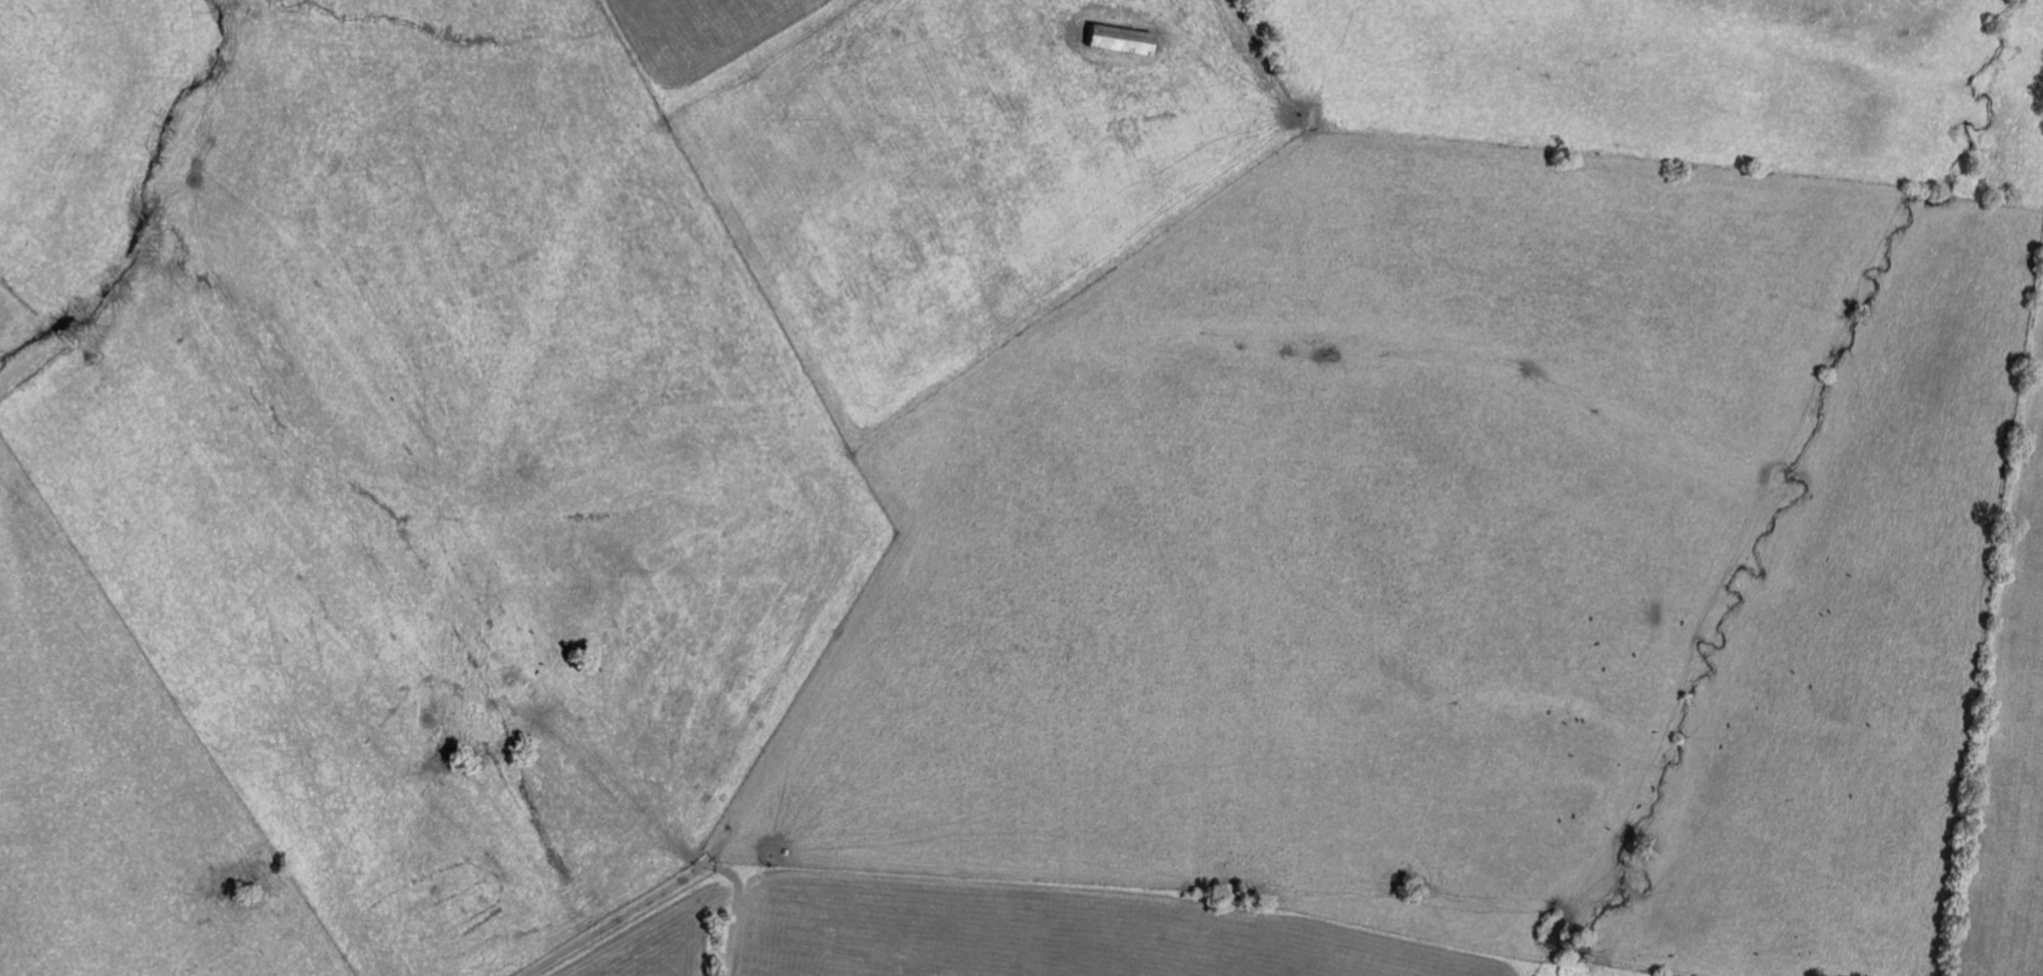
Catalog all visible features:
building: (1124, 39)

